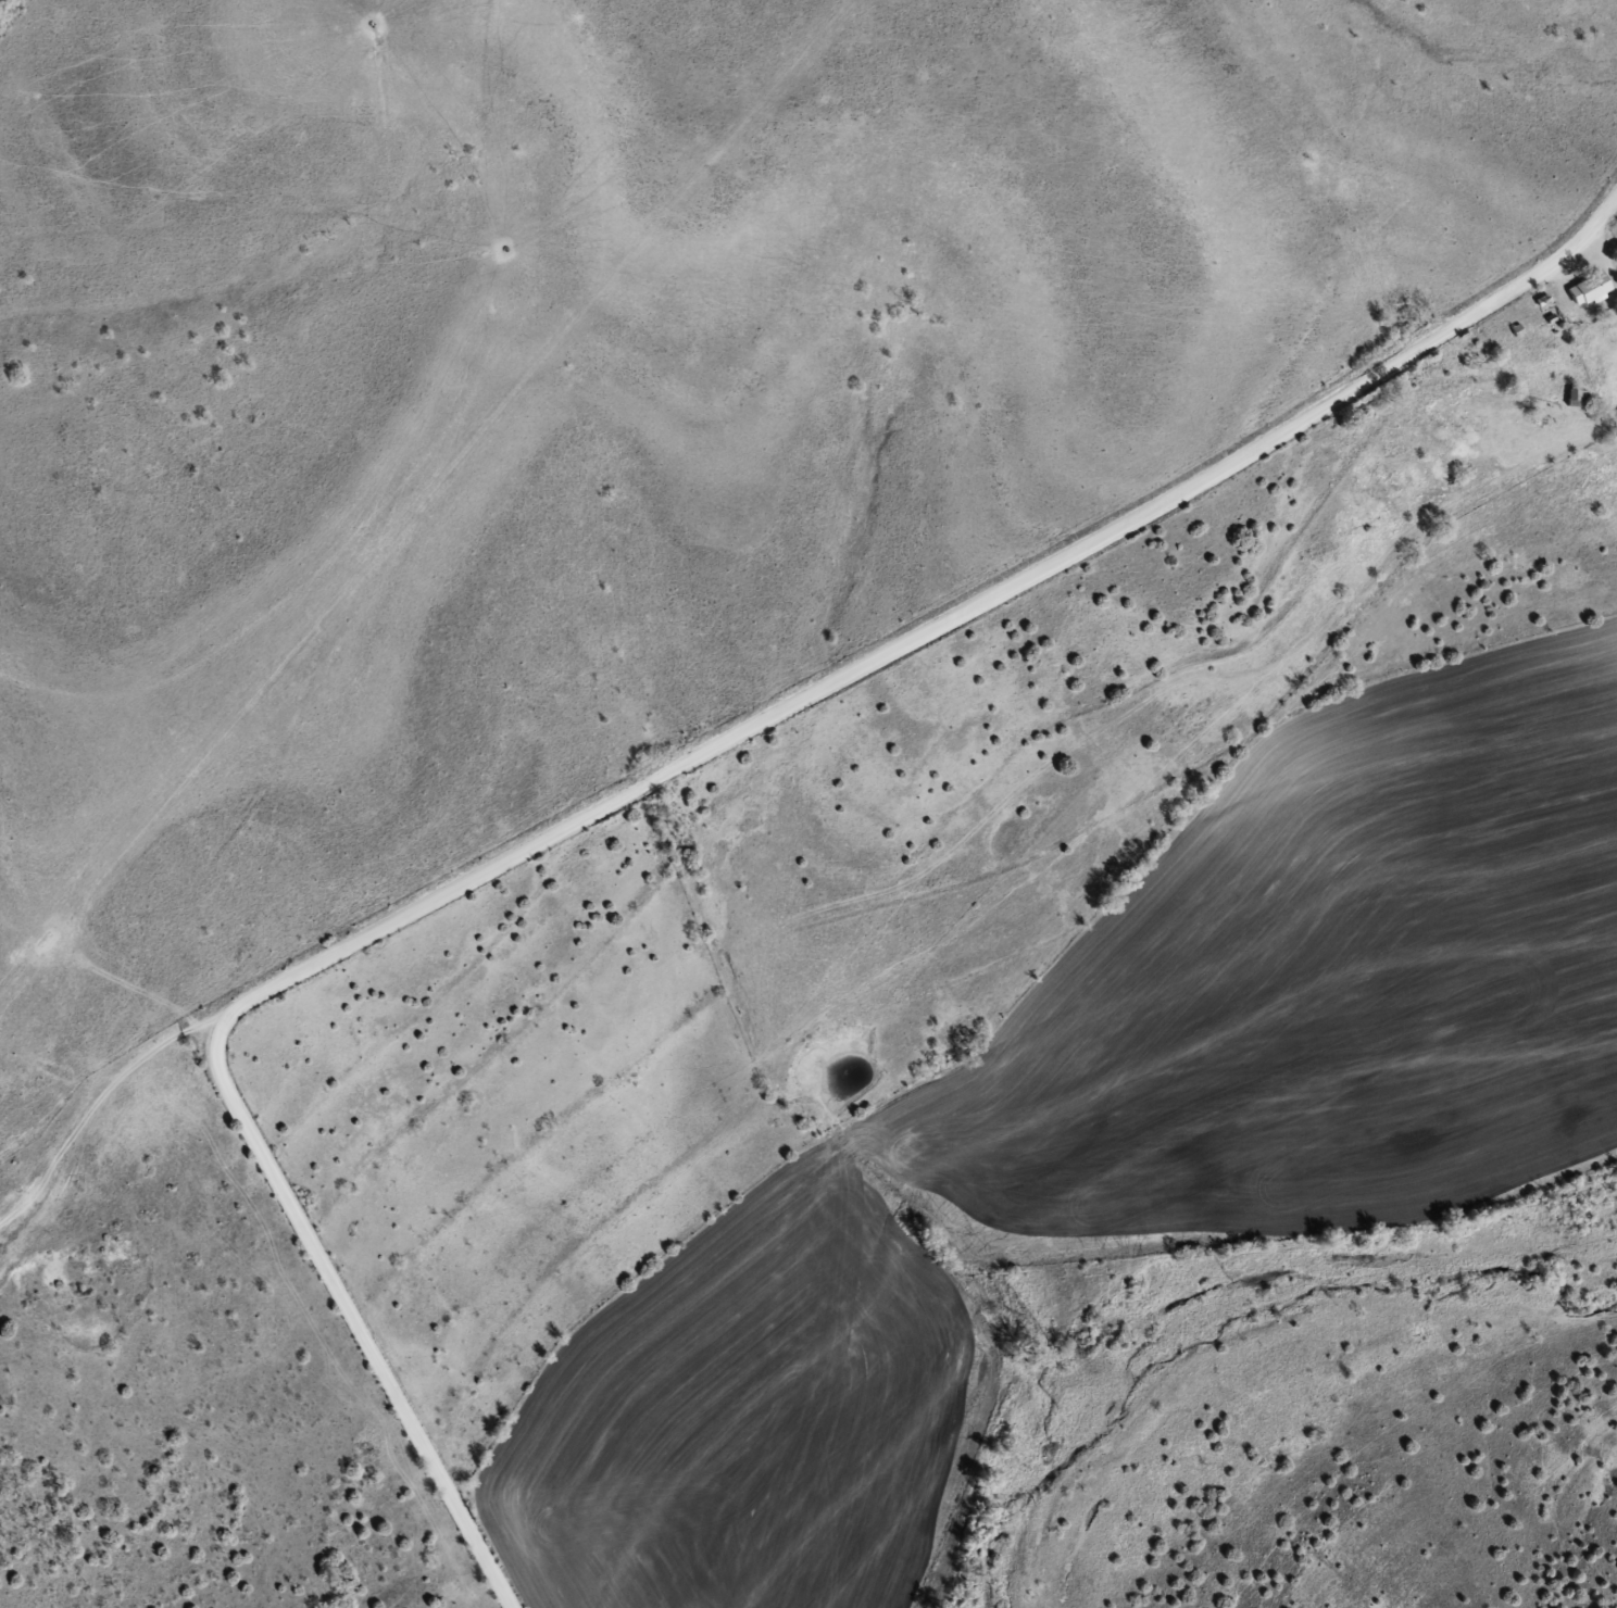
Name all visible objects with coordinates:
building: (1592, 290)
road: (938, 625)
road: (102, 1110)
road: (352, 1315)

